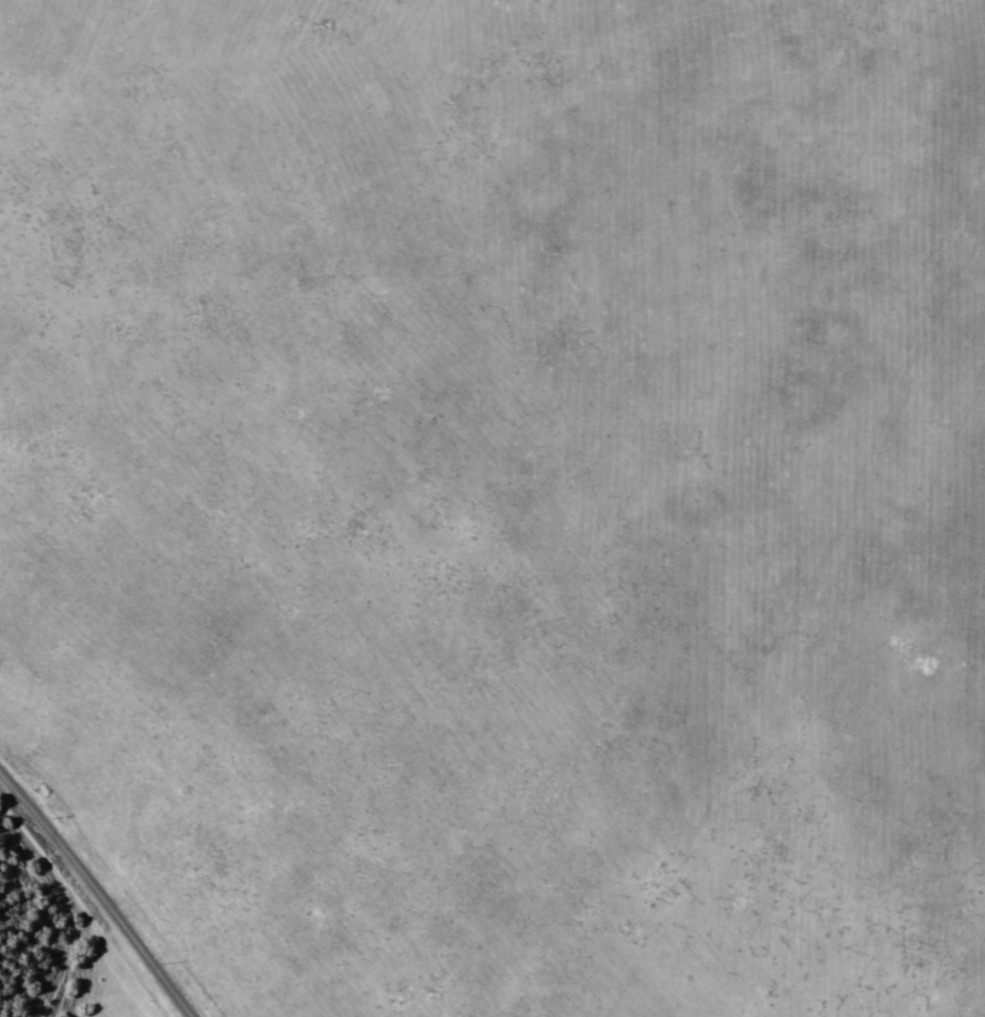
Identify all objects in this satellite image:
crop: (504, 496)
road: (95, 894)

